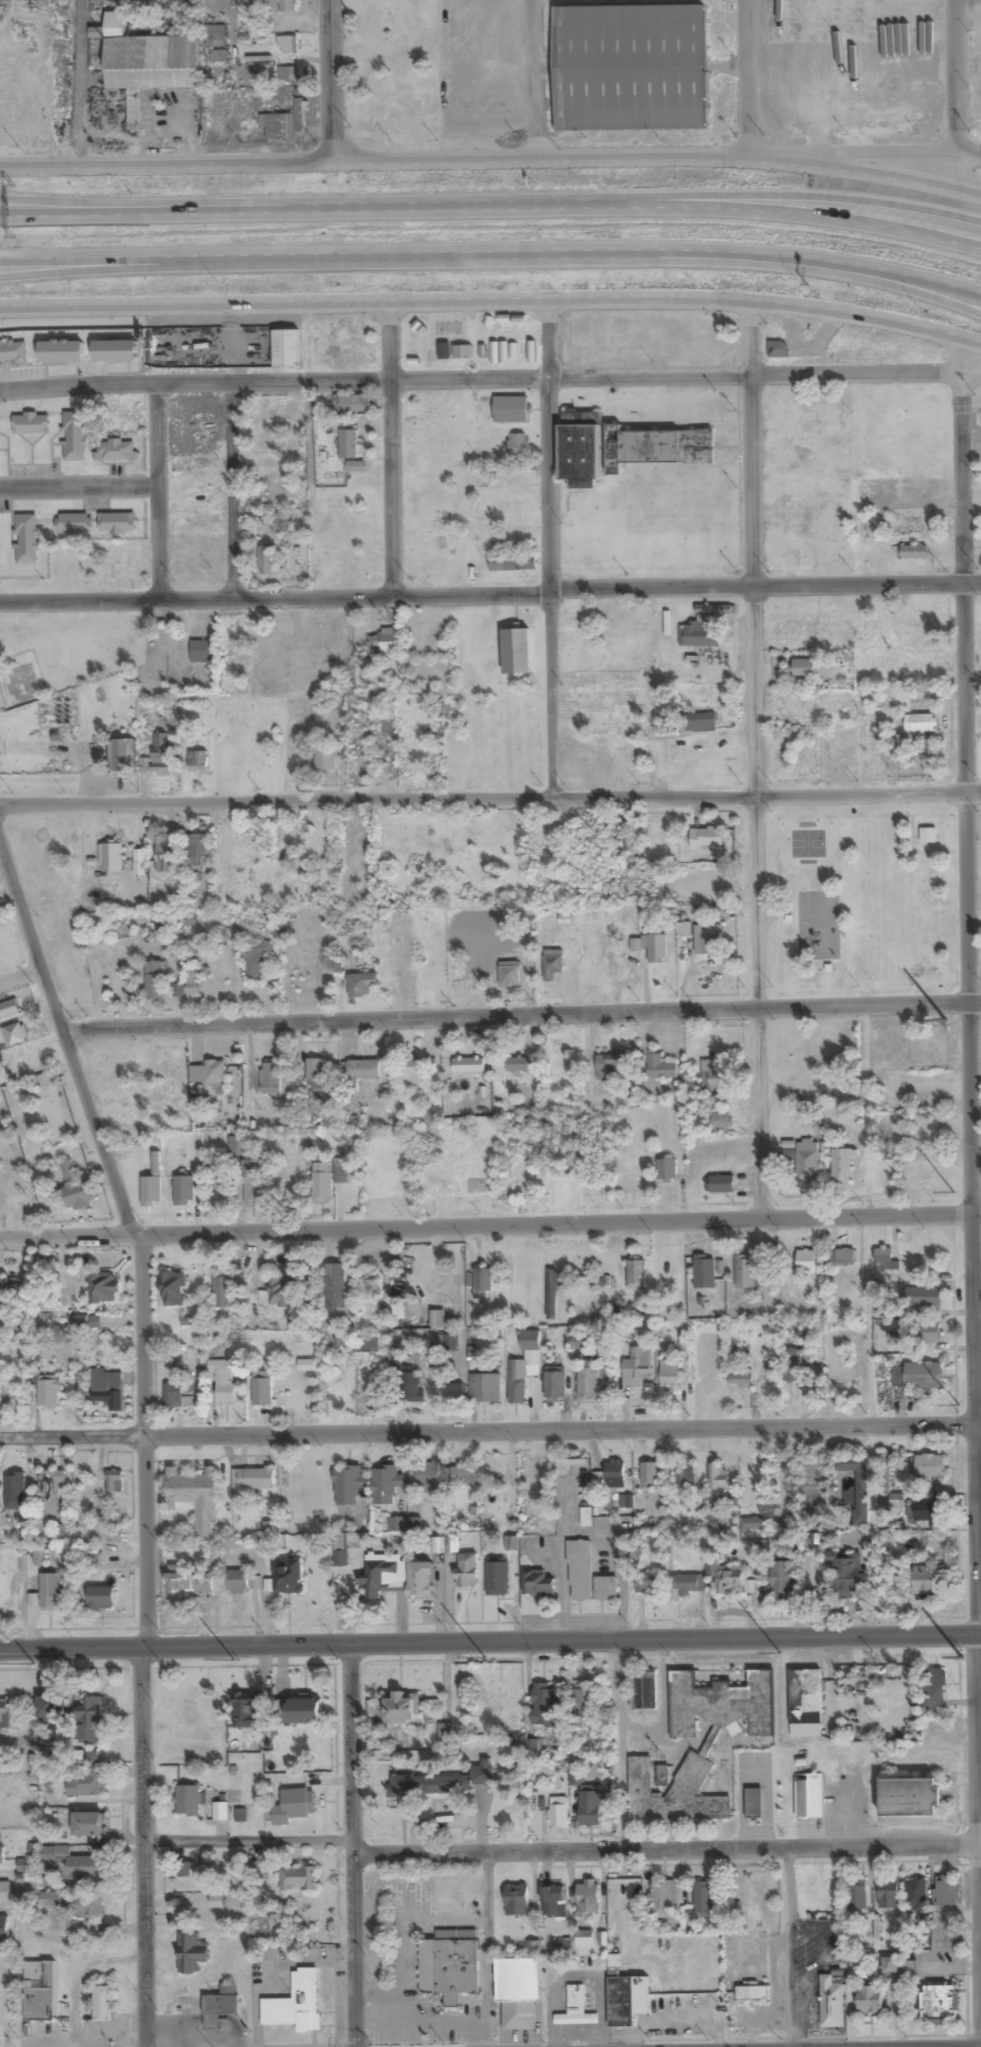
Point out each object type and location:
building: (184, 3)
building: (287, 6)
building: (215, 36)
building: (287, 46)
building: (629, 69)
building: (148, 70)
building: (287, 75)
road: (956, 75)
road: (744, 79)
road: (535, 81)
road: (330, 82)
road: (77, 83)
building: (279, 128)
road: (885, 150)
road: (492, 162)
road: (787, 196)
road: (492, 202)
road: (93, 204)
road: (493, 257)
road: (98, 267)
road: (916, 293)
road: (492, 301)
building: (286, 350)
building: (778, 350)
building: (60, 352)
building: (115, 352)
building: (13, 353)
road: (479, 378)
building: (351, 405)
building: (510, 410)
building: (128, 419)
building: (30, 424)
building: (74, 437)
building: (630, 443)
building: (273, 444)
building: (347, 445)
building: (519, 448)
road: (393, 450)
building: (116, 451)
building: (194, 476)
building: (514, 487)
road: (80, 489)
road: (160, 492)
road: (234, 492)
building: (199, 519)
building: (74, 524)
building: (116, 524)
building: (26, 540)
road: (551, 549)
building: (913, 553)
building: (133, 561)
building: (266, 562)
building: (512, 564)
road: (490, 594)
building: (623, 622)
building: (704, 627)
building: (802, 632)
building: (390, 644)
building: (516, 652)
building: (204, 654)
building: (804, 669)
building: (696, 699)
building: (625, 720)
building: (700, 722)
building: (919, 724)
building: (119, 756)
building: (842, 756)
building: (156, 758)
building: (324, 759)
building: (380, 760)
road: (755, 760)
building: (197, 762)
road: (490, 800)
building: (928, 836)
building: (706, 839)
building: (195, 848)
building: (110, 856)
building: (165, 858)
park: (861, 900)
building: (708, 940)
building: (655, 948)
building: (256, 961)
road: (20, 967)
building: (553, 968)
building: (458, 975)
building: (509, 975)
building: (623, 976)
building: (195, 980)
building: (155, 982)
building: (361, 985)
building: (124, 989)
road: (521, 1017)
power tower: (947, 1017)
building: (14, 1034)
road: (65, 1041)
building: (24, 1060)
building: (468, 1065)
building: (517, 1065)
building: (610, 1066)
building: (660, 1068)
building: (364, 1071)
building: (315, 1073)
building: (409, 1073)
building: (210, 1075)
building: (270, 1077)
building: (713, 1078)
building: (600, 1093)
building: (152, 1104)
building: (720, 1120)
building: (236, 1146)
building: (789, 1155)
building: (807, 1161)
building: (842, 1165)
building: (666, 1170)
building: (322, 1181)
building: (254, 1182)
building: (152, 1183)
building: (722, 1184)
building: (433, 1186)
building: (76, 1188)
building: (184, 1190)
power tower: (954, 1191)
road: (971, 1191)
building: (20, 1205)
road: (490, 1227)
building: (883, 1256)
building: (845, 1257)
building: (806, 1262)
building: (704, 1271)
building: (747, 1273)
building: (635, 1274)
building: (372, 1284)
building: (483, 1284)
building: (335, 1285)
building: (104, 1288)
building: (173, 1289)
building: (279, 1289)
building: (224, 1292)
building: (552, 1294)
building: (921, 1297)
building: (927, 1333)
building: (581, 1342)
building: (367, 1343)
building: (447, 1344)
building: (524, 1367)
building: (638, 1368)
building: (790, 1371)
building: (740, 1375)
building: (918, 1375)
building: (669, 1377)
building: (588, 1380)
building: (224, 1382)
building: (554, 1383)
building: (410, 1384)
building: (484, 1387)
building: (262, 1388)
building: (0, 1390)
building: (108, 1390)
building: (452, 1392)
building: (48, 1393)
building: (171, 1396)
power tower: (959, 1405)
road: (490, 1434)
building: (929, 1466)
building: (615, 1473)
building: (649, 1473)
building: (685, 1475)
building: (465, 1476)
building: (718, 1476)
building: (253, 1478)
building: (426, 1478)
building: (114, 1481)
building: (385, 1484)
building: (348, 1485)
building: (857, 1486)
building: (14, 1491)
building: (49, 1494)
building: (195, 1499)
building: (926, 1510)
building: (585, 1517)
building: (396, 1524)
building: (414, 1525)
building: (63, 1533)
building: (437, 1544)
building: (346, 1547)
building: (466, 1570)
building: (580, 1571)
building: (846, 1573)
building: (383, 1574)
building: (287, 1577)
building: (497, 1577)
building: (727, 1578)
building: (781, 1578)
building: (420, 1579)
building: (187, 1581)
building: (929, 1581)
building: (239, 1582)
building: (648, 1583)
building: (537, 1584)
building: (687, 1584)
building: (606, 1588)
building: (51, 1592)
building: (100, 1598)
road: (142, 1642)
road: (490, 1642)
power tower: (779, 1651)
power tower: (485, 1654)
power tower: (963, 1656)
power tower: (233, 1659)
power tower: (35, 1663)
building: (934, 1686)
building: (643, 1690)
building: (805, 1696)
building: (544, 1705)
building: (51, 1706)
building: (583, 1707)
building: (402, 1710)
building: (246, 1711)
building: (304, 1711)
building: (4, 1714)
building: (89, 1717)
building: (937, 1732)
building: (708, 1745)
building: (456, 1783)
building: (84, 1784)
building: (809, 1797)
building: (909, 1797)
building: (188, 1801)
building: (753, 1803)
building: (293, 1806)
building: (590, 1806)
building: (220, 1812)
building: (558, 1812)
building: (89, 1824)
road: (351, 1846)
building: (1, 1849)
road: (561, 1856)
building: (74, 1862)
building: (186, 1870)
building: (298, 1879)
building: (5, 1893)
building: (947, 1893)
building: (857, 1895)
building: (915, 1895)
building: (888, 1896)
building: (588, 1897)
building: (51, 1900)
building: (516, 1900)
building: (663, 1900)
building: (702, 1900)
building: (552, 1901)
building: (624, 1901)
building: (89, 1907)
building: (185, 1914)
building: (4, 1929)
building: (584, 1938)
building: (615, 1943)
building: (562, 1947)
building: (191, 1953)
building: (752, 1959)
building: (449, 1965)
building: (890, 1965)
building: (39, 1991)
building: (518, 1991)
building: (870, 1999)
building: (627, 2000)
building: (1, 2001)
building: (102, 2003)
building: (296, 2004)
building: (938, 2004)
building: (832, 2005)
building: (214, 2010)
building: (576, 2018)

